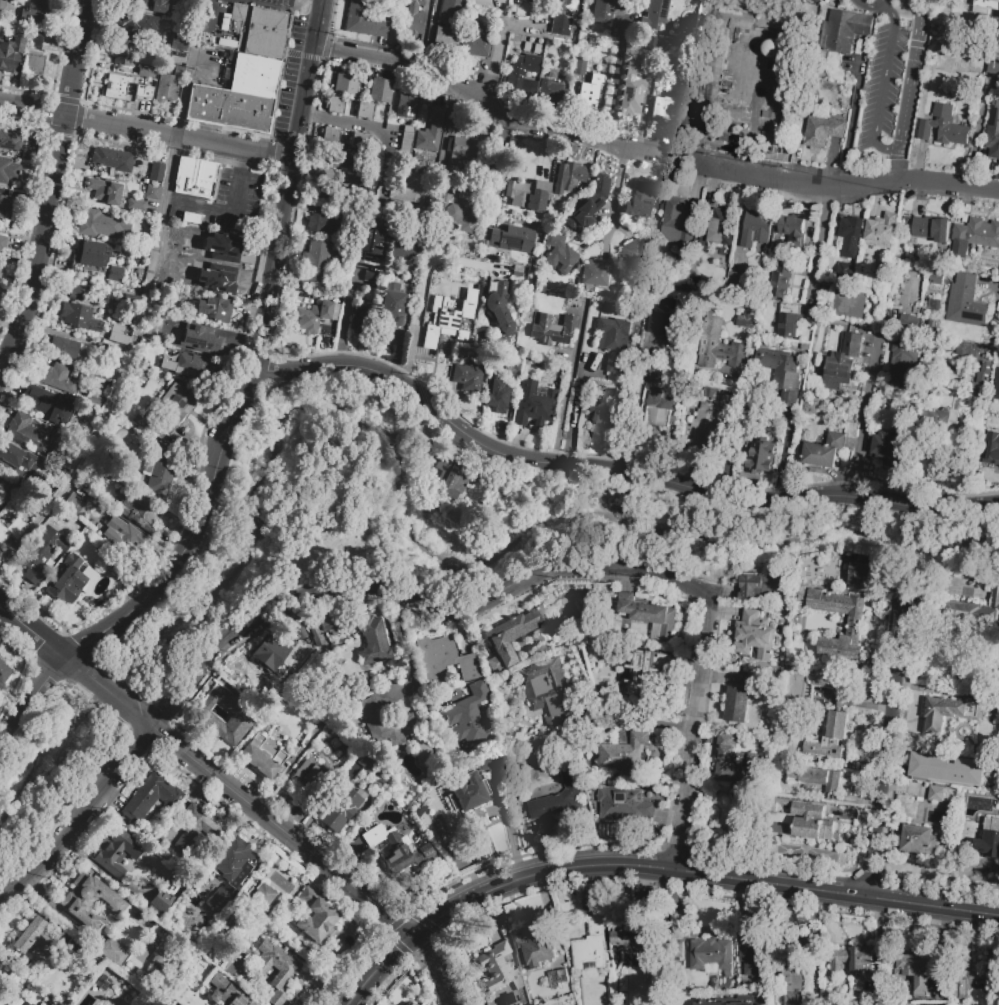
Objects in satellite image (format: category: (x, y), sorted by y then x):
building: (997, 0)
building: (535, 1)
building: (146, 4)
road: (917, 4)
building: (414, 5)
road: (862, 5)
road: (877, 5)
building: (1, 7)
building: (34, 10)
building: (604, 10)
road: (890, 11)
building: (451, 12)
building: (654, 13)
road: (906, 16)
building: (562, 17)
road: (915, 17)
building: (364, 19)
building: (137, 23)
building: (413, 23)
building: (845, 30)
building: (253, 31)
road: (431, 36)
building: (445, 38)
building: (38, 39)
building: (474, 40)
building: (180, 42)
building: (651, 43)
building: (770, 48)
water tower: (772, 51)
building: (10, 54)
building: (122, 55)
building: (169, 56)
building: (637, 59)
building: (994, 60)
road: (493, 61)
building: (28, 62)
building: (527, 63)
building: (38, 64)
building: (579, 65)
building: (177, 72)
building: (552, 72)
building: (255, 75)
parking lot: (290, 77)
building: (118, 80)
road: (617, 83)
building: (345, 84)
building: (519, 85)
building: (678, 85)
building: (590, 89)
building: (141, 90)
building: (380, 91)
building: (552, 91)
building: (115, 93)
building: (630, 93)
building: (166, 94)
parking lot: (891, 94)
building: (406, 104)
building: (335, 105)
building: (662, 107)
building: (229, 108)
road: (487, 108)
building: (364, 110)
road: (853, 116)
road: (346, 122)
building: (943, 126)
building: (708, 127)
building: (430, 130)
road: (146, 131)
building: (822, 132)
building: (993, 132)
building: (329, 136)
road: (980, 138)
building: (11, 140)
building: (359, 141)
building: (406, 142)
road: (887, 147)
building: (465, 154)
building: (113, 158)
building: (345, 160)
road: (680, 160)
road: (244, 162)
road: (908, 166)
road: (893, 167)
building: (9, 169)
building: (156, 171)
road: (503, 173)
building: (574, 173)
building: (346, 175)
building: (195, 177)
road: (288, 184)
road: (847, 185)
building: (412, 188)
building: (105, 190)
road: (52, 192)
building: (151, 192)
building: (528, 193)
road: (615, 193)
building: (556, 195)
building: (643, 199)
parking lot: (228, 203)
building: (137, 204)
building: (588, 204)
building: (6, 207)
building: (456, 211)
road: (226, 213)
building: (192, 218)
building: (324, 219)
building: (99, 224)
building: (679, 225)
building: (722, 227)
building: (792, 228)
building: (754, 229)
building: (930, 229)
building: (881, 231)
building: (978, 232)
building: (512, 238)
building: (848, 240)
building: (2, 242)
building: (370, 243)
building: (402, 246)
road: (821, 246)
building: (213, 249)
building: (316, 250)
building: (88, 252)
building: (560, 252)
building: (632, 253)
building: (0, 263)
building: (0, 270)
building: (313, 270)
building: (843, 270)
building: (595, 272)
building: (115, 273)
parking lot: (199, 273)
building: (370, 276)
building: (936, 276)
road: (191, 277)
building: (779, 283)
building: (444, 284)
road: (422, 287)
road: (259, 290)
building: (77, 292)
building: (850, 297)
building: (125, 298)
building: (965, 302)
road: (147, 304)
building: (391, 304)
building: (497, 305)
building: (933, 305)
building: (210, 308)
building: (848, 310)
building: (312, 316)
building: (79, 317)
road: (348, 317)
building: (364, 319)
building: (745, 320)
building: (789, 321)
building: (907, 323)
building: (662, 324)
building: (439, 327)
building: (553, 329)
building: (202, 337)
building: (118, 338)
building: (614, 342)
building: (718, 346)
building: (63, 347)
building: (971, 353)
building: (841, 362)
building: (512, 363)
building: (193, 366)
building: (902, 367)
building: (142, 374)
building: (654, 374)
building: (780, 375)
building: (57, 377)
building: (468, 377)
building: (982, 377)
building: (620, 380)
road: (569, 387)
building: (995, 387)
building: (709, 393)
building: (623, 394)
building: (979, 395)
building: (496, 396)
building: (96, 399)
building: (176, 400)
building: (47, 403)
building: (533, 403)
building: (658, 407)
building: (603, 416)
road: (866, 416)
building: (934, 420)
building: (156, 424)
road: (575, 424)
building: (704, 429)
building: (992, 430)
building: (33, 435)
building: (888, 447)
building: (991, 450)
building: (818, 451)
building: (762, 454)
building: (18, 456)
road: (782, 465)
building: (161, 467)
road: (612, 471)
building: (452, 478)
building: (9, 493)
building: (73, 503)
building: (138, 509)
building: (13, 529)
building: (123, 535)
building: (41, 552)
road: (183, 554)
building: (859, 575)
building: (67, 580)
building: (761, 586)
road: (413, 600)
building: (977, 605)
building: (650, 617)
building: (325, 624)
building: (855, 624)
building: (297, 629)
road: (35, 631)
building: (758, 631)
building: (511, 635)
road: (401, 642)
building: (375, 643)
building: (270, 655)
building: (444, 658)
building: (4, 672)
building: (647, 675)
building: (823, 686)
building: (547, 687)
building: (739, 699)
building: (952, 710)
road: (19, 713)
building: (327, 713)
building: (470, 715)
building: (241, 716)
building: (829, 718)
road: (635, 720)
building: (384, 723)
building: (552, 723)
road: (693, 736)
building: (421, 748)
road: (886, 750)
building: (625, 751)
building: (263, 756)
building: (367, 761)
building: (493, 761)
building: (737, 762)
building: (946, 768)
building: (817, 777)
building: (310, 778)
building: (468, 793)
building: (942, 795)
road: (242, 797)
building: (152, 799)
building: (558, 800)
building: (623, 805)
building: (341, 808)
road: (81, 818)
building: (807, 819)
building: (197, 830)
road: (508, 832)
building: (989, 839)
building: (919, 841)
building: (397, 848)
building: (116, 851)
building: (234, 862)
road: (959, 872)
road: (700, 876)
building: (219, 900)
building: (263, 900)
building: (89, 901)
building: (159, 902)
building: (313, 916)
building: (627, 932)
traffic signals: (414, 936)
building: (36, 942)
building: (534, 945)
building: (591, 946)
building: (113, 950)
building: (678, 952)
building: (713, 955)
building: (752, 955)
building: (159, 957)
building: (854, 959)
building: (615, 965)
building: (499, 967)
road: (378, 968)
building: (276, 969)
road: (430, 969)
building: (789, 970)
building: (916, 972)
building: (559, 980)
building: (102, 982)
building: (977, 985)
building: (620, 990)
building: (227, 992)
building: (541, 998)
building: (26, 1003)
building: (719, 1003)
building: (54, 1004)
building: (410, 1004)
building: (413, 1004)

